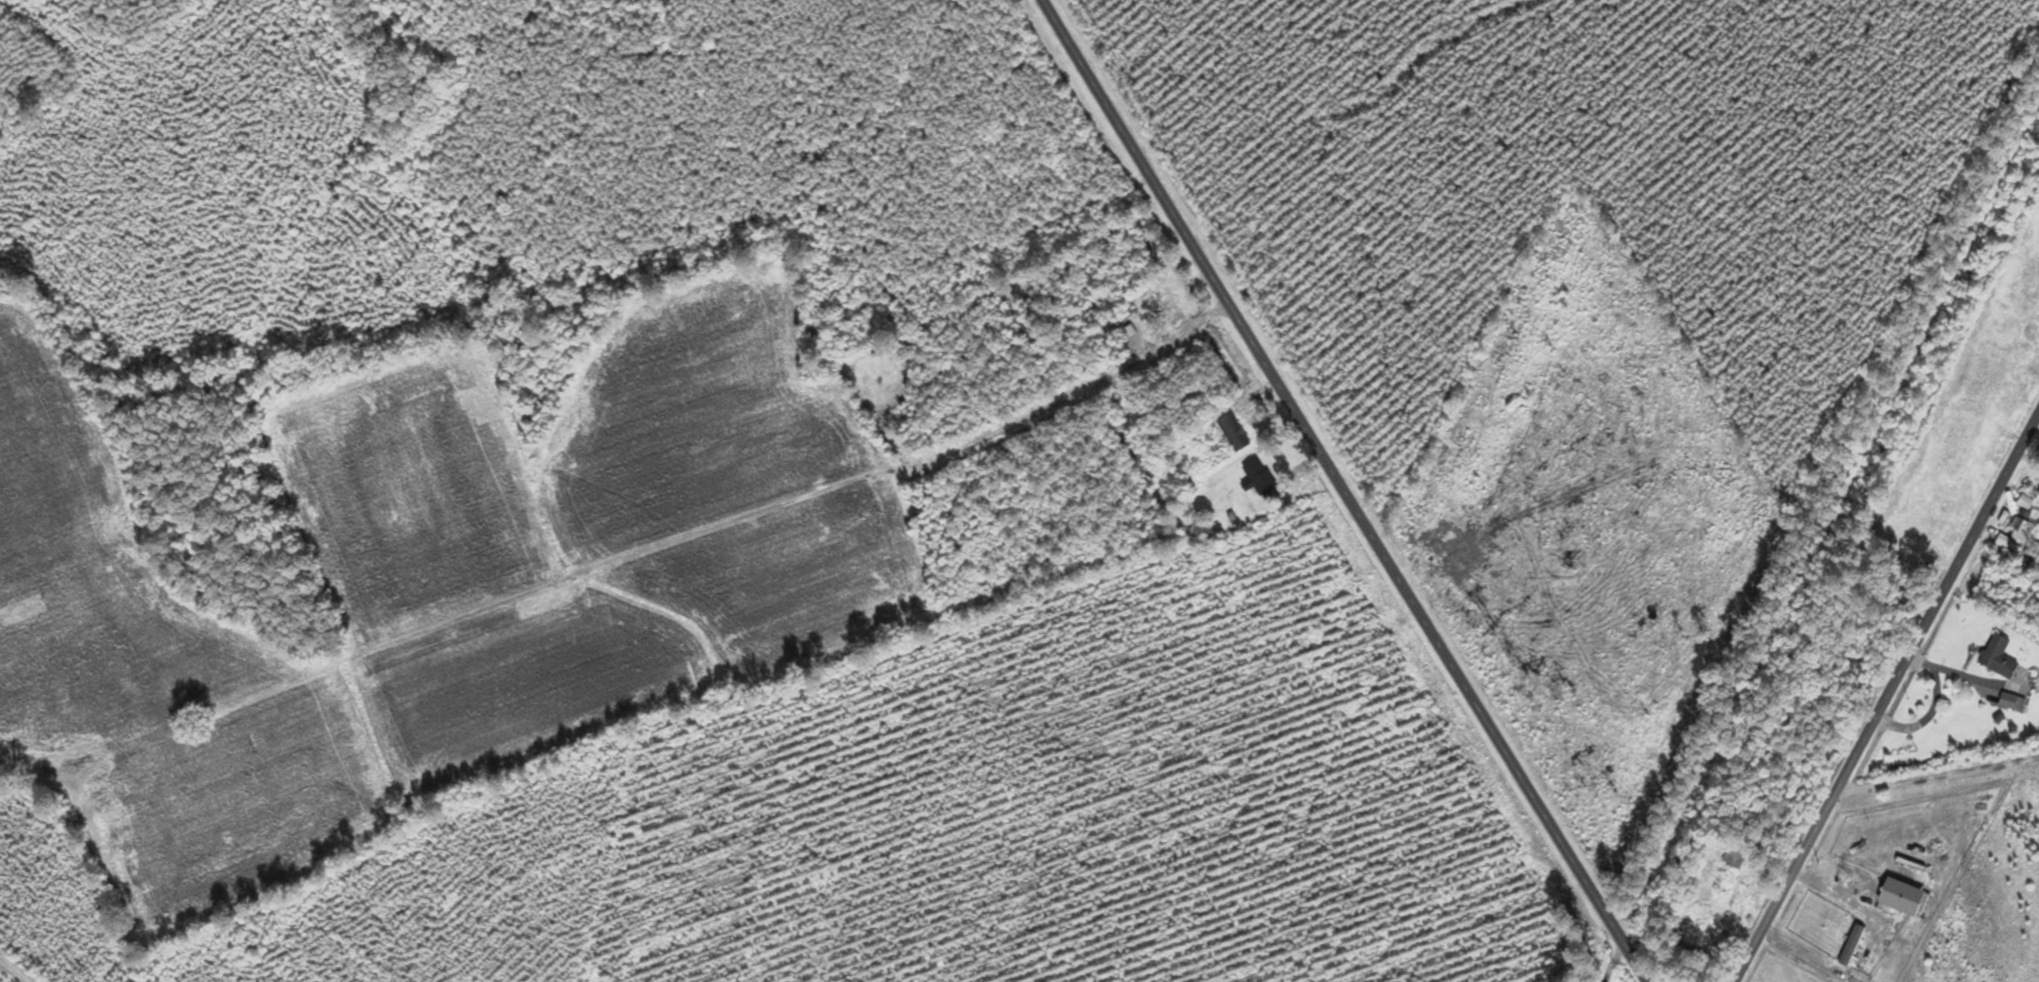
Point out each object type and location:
building: (1163, 304)
road: (1187, 327)
building: (1236, 432)
building: (1262, 477)
road: (1342, 493)
building: (2026, 502)
building: (2023, 529)
building: (2001, 656)
road: (1888, 696)
building: (2014, 701)
road: (1938, 775)
building: (1728, 872)
road: (17, 967)

